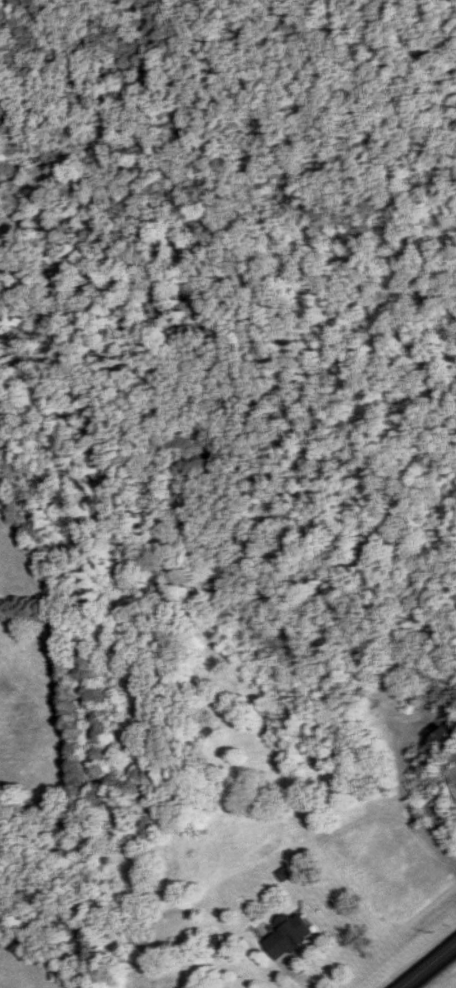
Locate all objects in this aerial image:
building: (449, 741)
building: (288, 935)
road: (427, 964)

